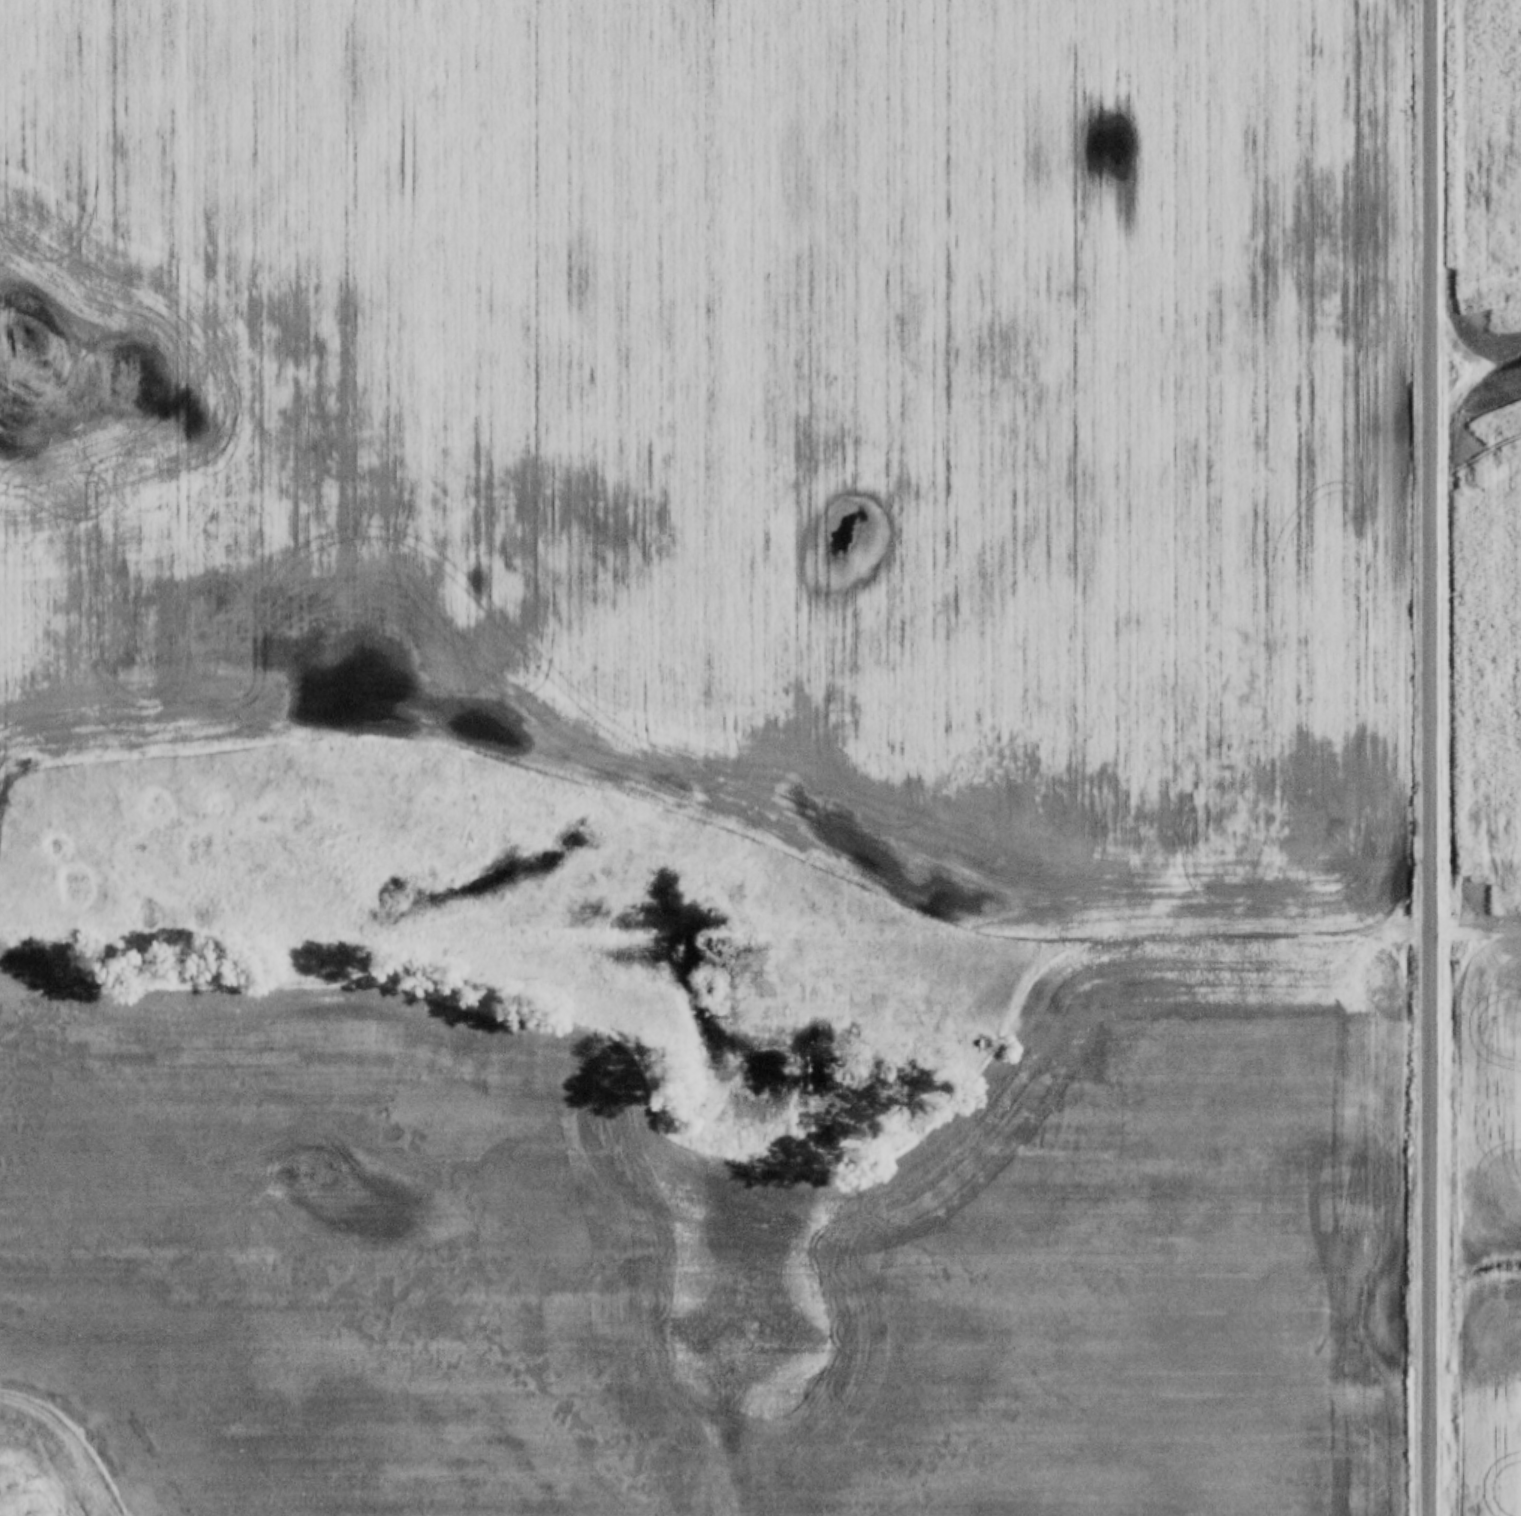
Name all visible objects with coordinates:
road: (1426, 758)

